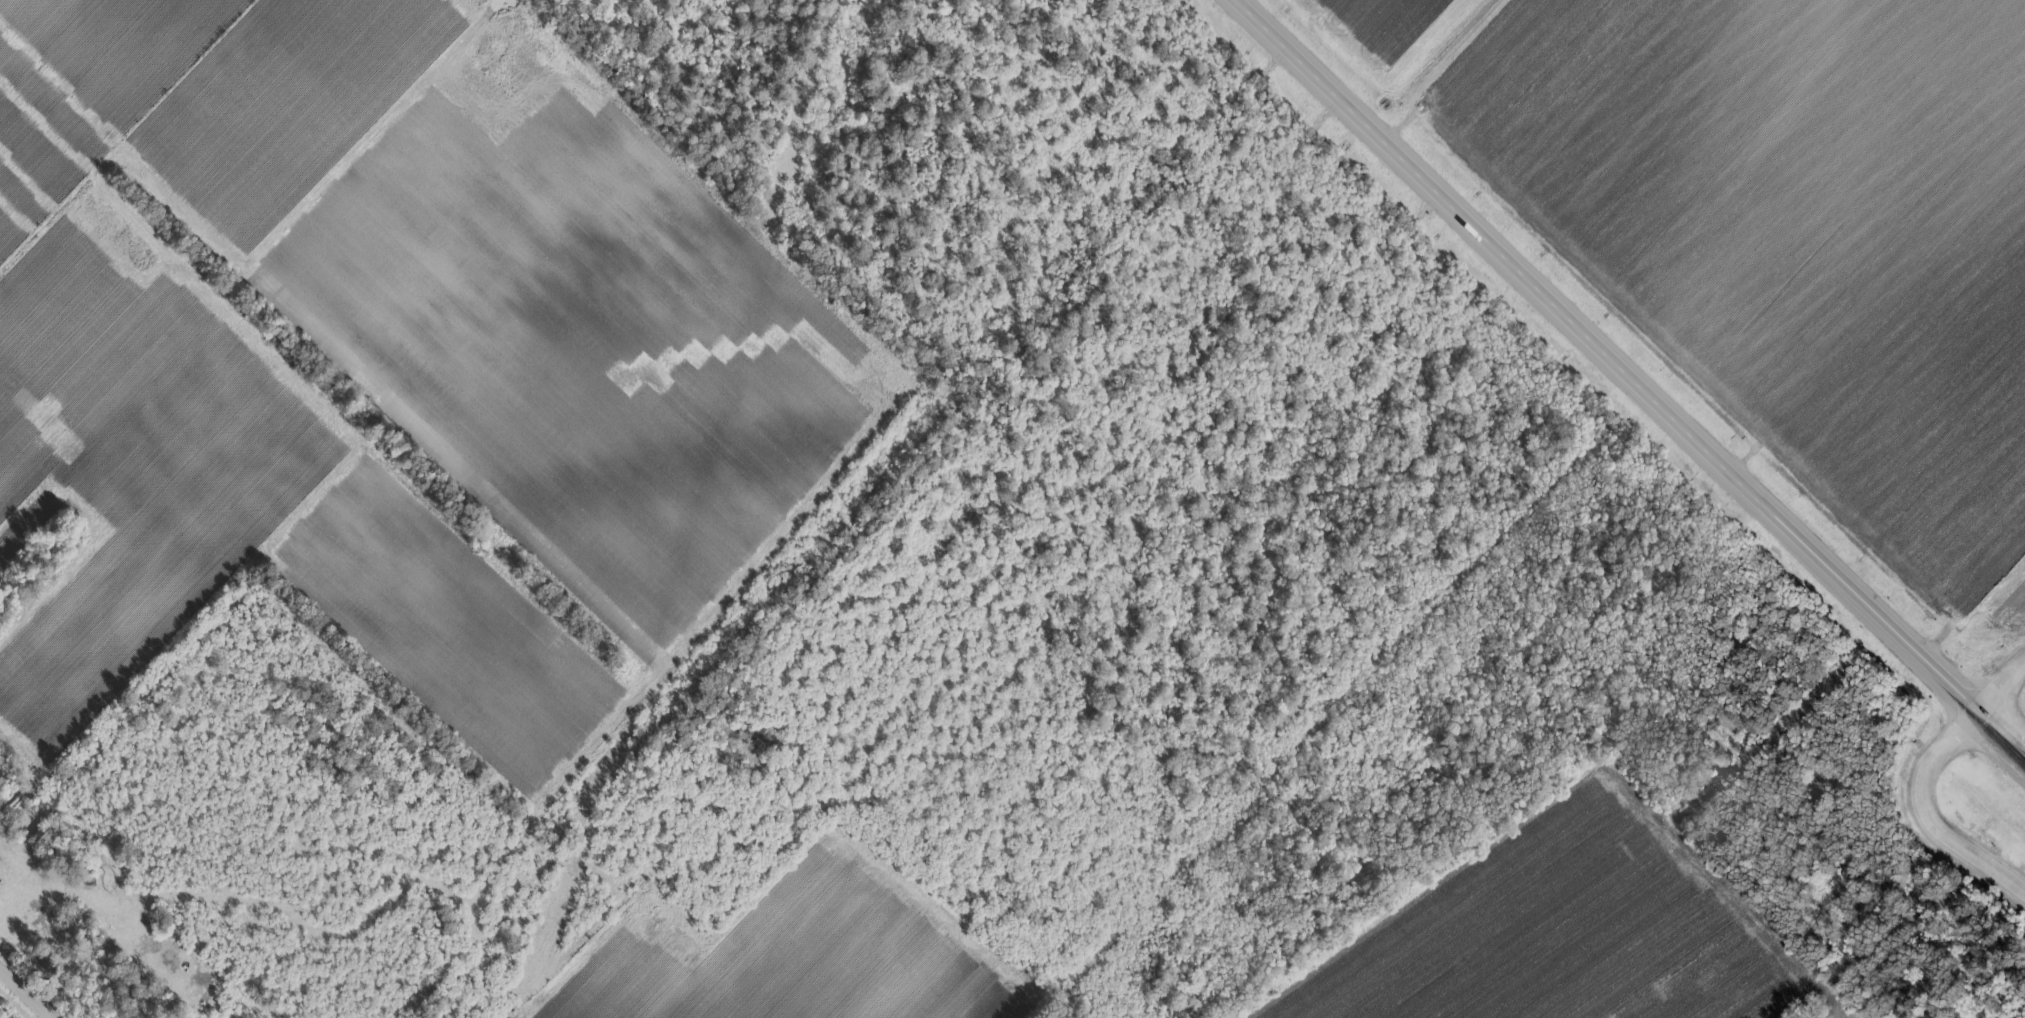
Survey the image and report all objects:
road: (1630, 382)
road: (1922, 783)
road: (27, 991)

